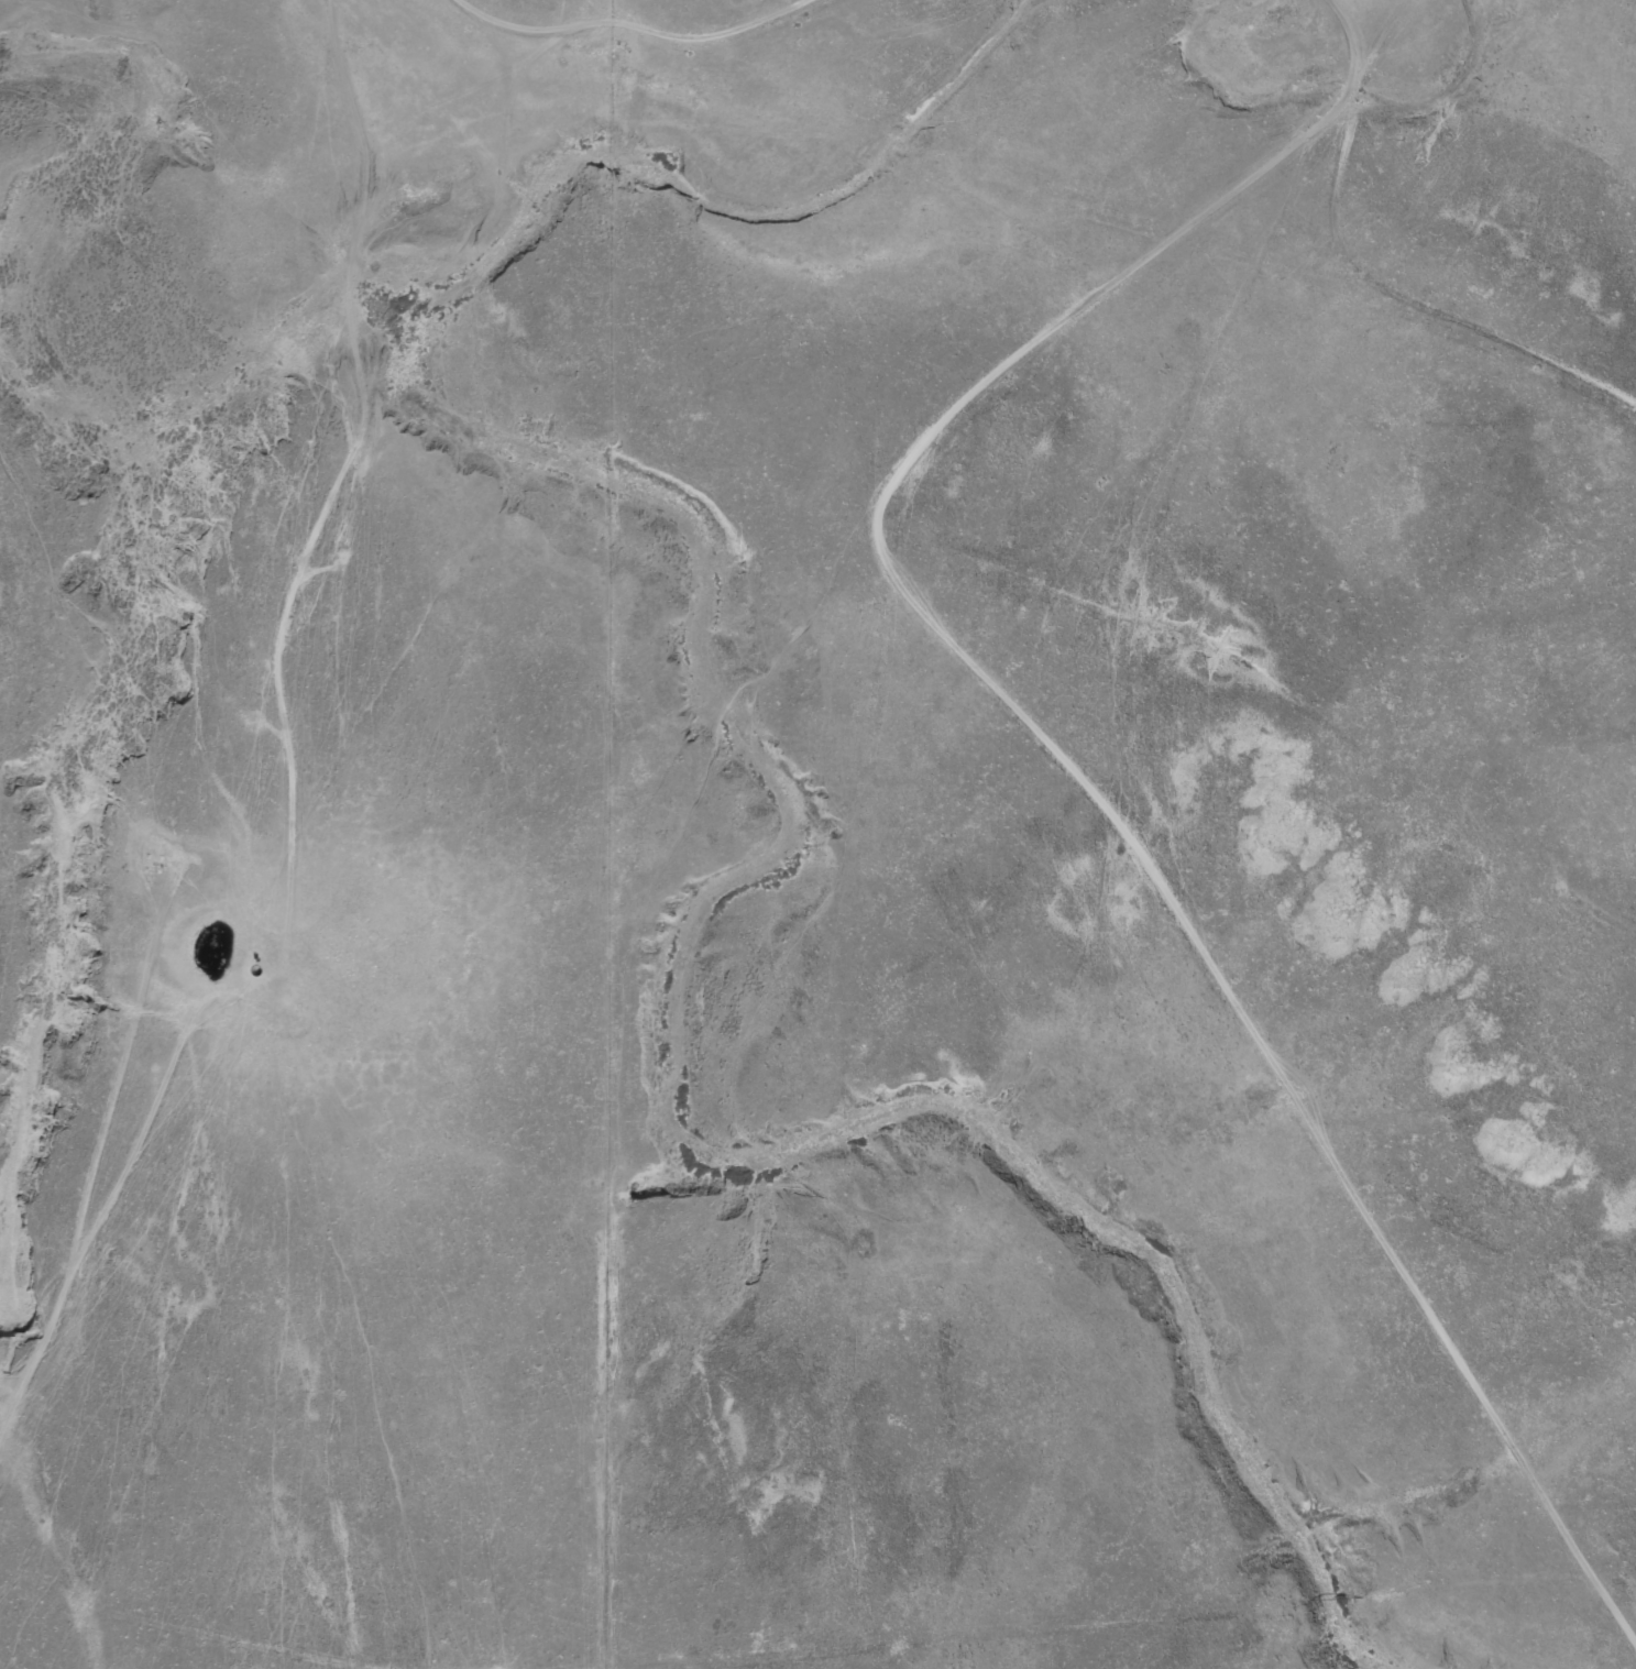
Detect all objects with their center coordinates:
road: (633, 75)
road: (1074, 757)
road: (118, 1243)

